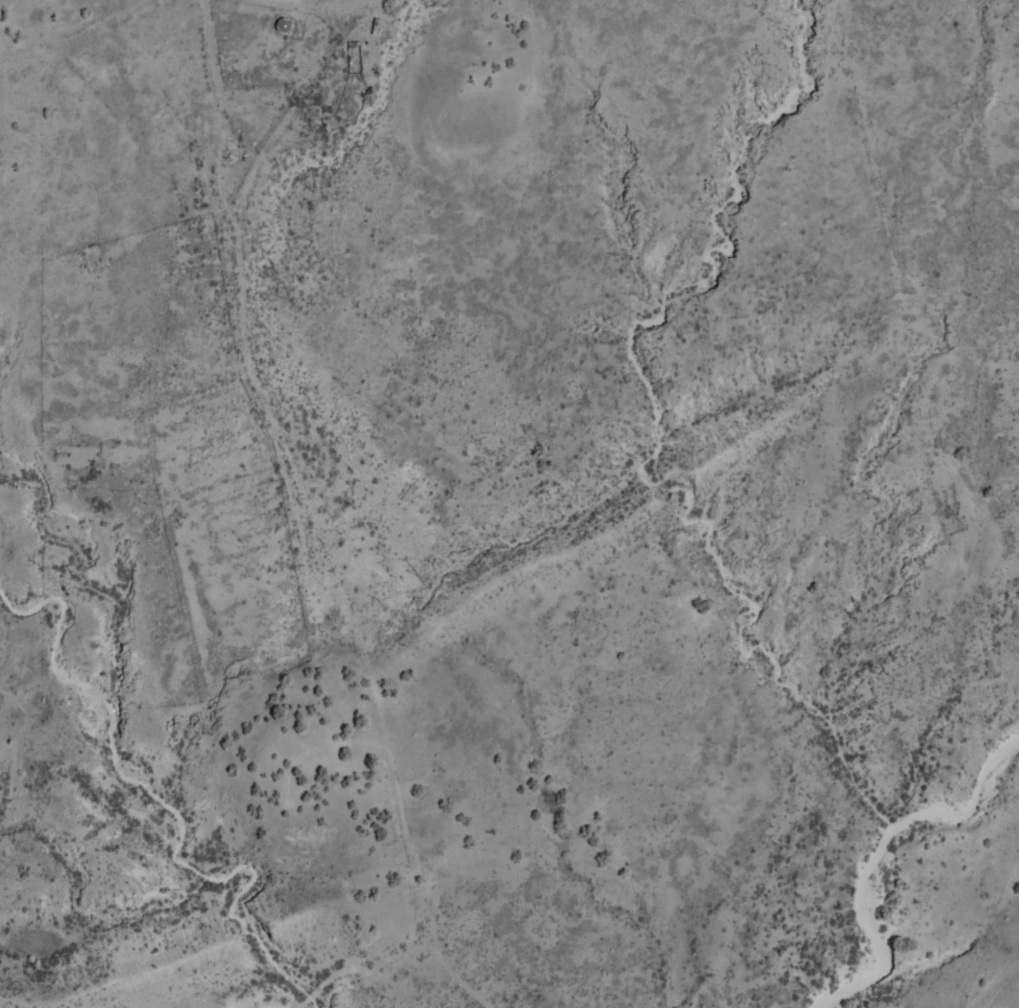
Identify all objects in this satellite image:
building: (283, 26)

